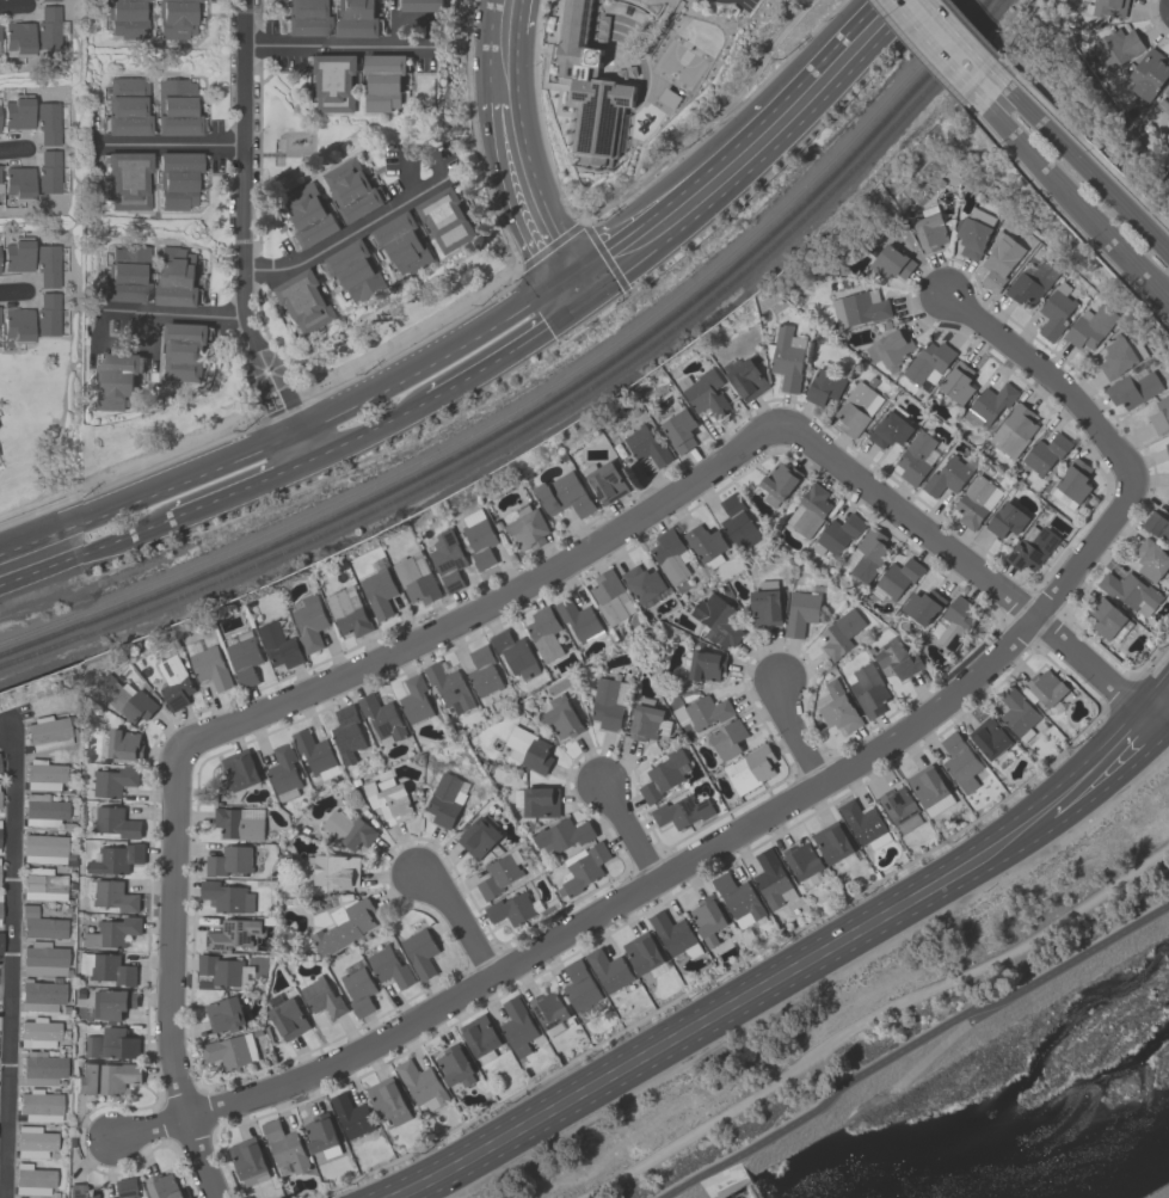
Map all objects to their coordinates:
building: (49, 0)
road: (870, 2)
road: (12, 5)
building: (423, 5)
building: (1103, 7)
road: (509, 13)
road: (898, 13)
building: (127, 18)
building: (174, 18)
building: (307, 18)
building: (356, 18)
building: (47, 27)
building: (614, 31)
building: (18, 38)
road: (380, 44)
road: (947, 44)
building: (1115, 47)
road: (923, 57)
road: (506, 63)
building: (1148, 76)
building: (336, 82)
building: (1168, 82)
building: (384, 84)
building: (590, 85)
building: (1167, 91)
building: (128, 107)
building: (177, 109)
building: (18, 112)
building: (47, 123)
road: (170, 143)
road: (12, 148)
road: (728, 149)
road: (761, 156)
road: (242, 158)
road: (1083, 165)
building: (48, 172)
building: (177, 179)
building: (128, 180)
building: (17, 184)
road: (531, 186)
building: (351, 190)
road: (1072, 198)
road: (389, 207)
building: (309, 213)
building: (447, 219)
road: (1071, 222)
building: (929, 228)
building: (973, 232)
building: (404, 244)
building: (18, 257)
building: (998, 260)
building: (891, 263)
building: (48, 266)
building: (356, 271)
building: (127, 275)
building: (176, 277)
road: (544, 282)
building: (1030, 282)
road: (576, 284)
road: (604, 288)
road: (12, 290)
building: (306, 300)
building: (859, 308)
building: (1054, 311)
road: (173, 312)
building: (47, 315)
building: (18, 326)
building: (1089, 326)
road: (125, 343)
road: (407, 345)
building: (891, 348)
building: (183, 350)
road: (505, 350)
building: (786, 357)
building: (1116, 357)
building: (929, 362)
building: (743, 375)
road: (1052, 377)
building: (116, 379)
building: (958, 382)
building: (824, 386)
road: (276, 388)
building: (1132, 389)
building: (703, 392)
railway: (535, 399)
building: (991, 401)
railway: (544, 406)
building: (856, 408)
railway: (553, 412)
building: (1159, 414)
road: (294, 429)
road: (368, 429)
building: (679, 430)
building: (888, 430)
building: (1014, 430)
building: (647, 446)
building: (1167, 448)
building: (1045, 453)
building: (915, 456)
building: (949, 474)
building: (607, 481)
building: (779, 481)
building: (1072, 483)
road: (244, 490)
building: (562, 494)
building: (1168, 496)
building: (1168, 499)
building: (976, 500)
building: (811, 508)
building: (1005, 518)
building: (738, 521)
building: (1156, 524)
building: (527, 527)
building: (838, 533)
building: (478, 537)
building: (705, 542)
road: (121, 543)
building: (1032, 547)
building: (670, 554)
building: (867, 554)
road: (31, 558)
building: (1151, 559)
building: (447, 560)
road: (977, 570)
building: (898, 576)
building: (416, 582)
building: (642, 582)
building: (1130, 591)
building: (379, 592)
building: (610, 596)
road: (488, 601)
building: (765, 603)
building: (923, 606)
building: (800, 612)
building: (346, 614)
building: (1106, 616)
building: (578, 619)
building: (716, 619)
building: (308, 621)
building: (955, 622)
building: (543, 632)
building: (839, 633)
building: (278, 644)
building: (515, 653)
building: (244, 658)
building: (898, 661)
building: (706, 665)
building: (209, 668)
building: (482, 670)
building: (173, 682)
building: (448, 686)
road: (1153, 688)
building: (869, 689)
building: (1047, 689)
building: (123, 699)
building: (414, 699)
building: (607, 704)
building: (837, 707)
building: (702, 711)
building: (1016, 712)
building: (382, 715)
building: (561, 717)
building: (647, 720)
road: (1167, 729)
building: (346, 732)
building: (48, 733)
road: (794, 733)
building: (989, 737)
building: (727, 738)
building: (123, 744)
building: (528, 749)
building: (315, 754)
building: (959, 761)
building: (750, 768)
building: (240, 769)
building: (283, 772)
building: (43, 775)
building: (662, 778)
building: (113, 780)
road: (1108, 781)
building: (929, 788)
building: (387, 798)
building: (445, 800)
building: (541, 801)
building: (900, 807)
building: (43, 811)
building: (682, 811)
building: (115, 822)
building: (863, 823)
building: (236, 824)
building: (347, 829)
road: (629, 834)
building: (561, 835)
building: (478, 837)
building: (833, 843)
building: (43, 848)
building: (116, 858)
road: (701, 858)
building: (228, 860)
building: (804, 864)
building: (584, 867)
building: (333, 870)
building: (498, 876)
building: (771, 878)
building: (42, 885)
building: (115, 896)
building: (227, 896)
building: (739, 899)
building: (512, 908)
building: (0, 911)
road: (456, 917)
building: (707, 920)
building: (39, 924)
building: (344, 924)
building: (110, 932)
building: (230, 934)
building: (673, 934)
building: (419, 952)
building: (642, 952)
building: (42, 960)
road: (10, 962)
building: (389, 966)
building: (106, 967)
building: (220, 969)
building: (608, 969)
road: (764, 971)
road: (5, 978)
road: (167, 978)
building: (579, 985)
building: (359, 990)
building: (41, 995)
building: (321, 997)
building: (111, 1002)
building: (548, 1008)
building: (223, 1014)
road: (736, 1015)
road: (872, 1016)
building: (289, 1018)
building: (517, 1026)
building: (37, 1033)
building: (480, 1034)
building: (110, 1044)
road: (915, 1045)
building: (229, 1050)
building: (455, 1065)
building: (41, 1069)
building: (105, 1077)
building: (420, 1082)
building: (388, 1100)
building: (38, 1106)
building: (351, 1114)
road: (149, 1125)
river: (1045, 1128)
building: (321, 1135)
building: (32, 1142)
building: (284, 1145)
building: (248, 1161)
road: (1, 1177)
building: (31, 1180)
building: (162, 1186)
building: (127, 1187)
building: (81, 1191)

